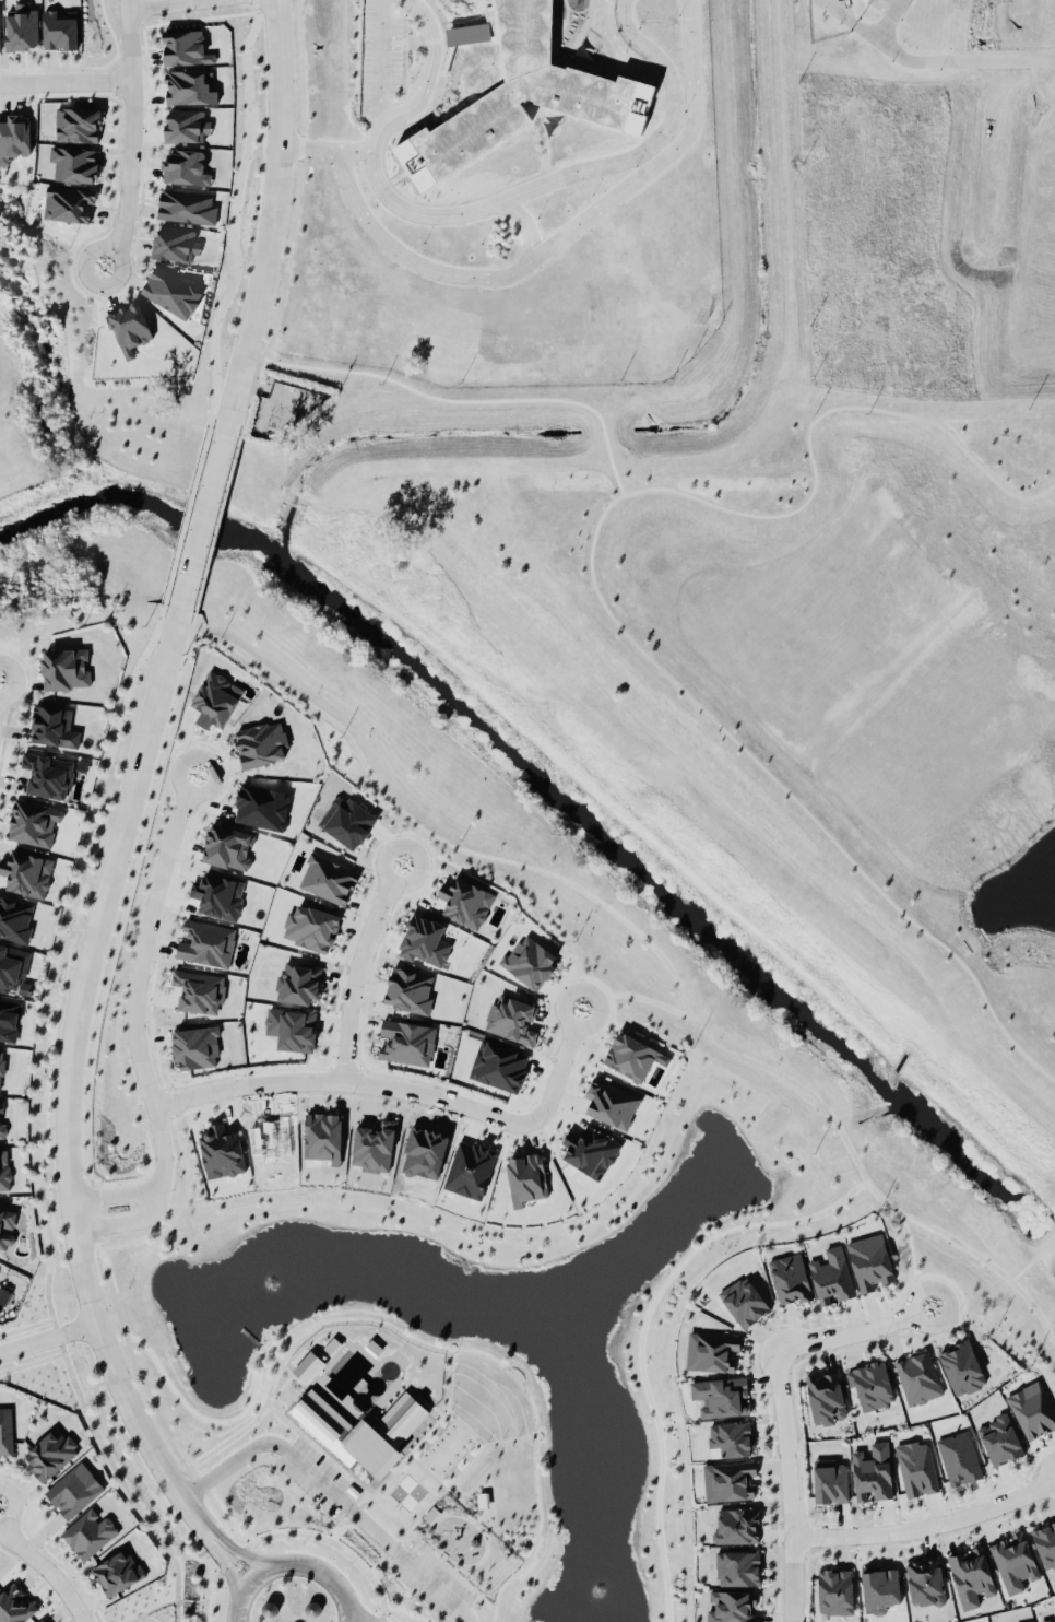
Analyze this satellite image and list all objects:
building: (868, 0)
road: (153, 3)
road: (252, 4)
building: (22, 26)
building: (59, 30)
building: (0, 42)
building: (185, 44)
road: (893, 52)
road: (1005, 56)
road: (381, 60)
road: (66, 79)
building: (188, 82)
building: (517, 89)
building: (183, 121)
building: (78, 124)
building: (12, 134)
road: (131, 138)
road: (355, 152)
building: (74, 163)
building: (185, 166)
road: (300, 178)
building: (69, 202)
road: (483, 204)
building: (187, 205)
road: (272, 216)
road: (233, 218)
road: (524, 225)
building: (173, 239)
road: (535, 257)
building: (168, 286)
building: (129, 328)
road: (254, 395)
road: (472, 403)
road: (183, 521)
road: (199, 522)
road: (213, 534)
road: (596, 597)
building: (64, 667)
building: (214, 696)
building: (54, 725)
building: (261, 743)
road: (173, 747)
building: (47, 773)
road: (179, 792)
river: (554, 797)
building: (346, 814)
building: (34, 821)
road: (410, 837)
building: (228, 847)
building: (26, 872)
road: (377, 873)
building: (328, 878)
building: (217, 894)
building: (465, 901)
building: (14, 918)
building: (309, 922)
building: (420, 935)
building: (205, 940)
road: (368, 943)
road: (108, 953)
road: (653, 956)
building: (526, 957)
road: (51, 961)
building: (13, 963)
road: (347, 977)
building: (298, 982)
building: (195, 987)
building: (407, 988)
road: (645, 1002)
building: (511, 1018)
building: (9, 1019)
road: (555, 1021)
building: (291, 1025)
road: (129, 1033)
building: (406, 1042)
building: (195, 1046)
building: (632, 1056)
building: (498, 1065)
building: (1, 1067)
road: (339, 1070)
road: (67, 1074)
road: (547, 1074)
road: (337, 1080)
road: (386, 1101)
road: (162, 1103)
building: (612, 1103)
building: (2, 1126)
road: (150, 1127)
building: (322, 1132)
building: (374, 1145)
building: (221, 1150)
building: (590, 1151)
building: (467, 1166)
building: (4, 1168)
building: (524, 1175)
road: (86, 1206)
road: (167, 1213)
building: (7, 1226)
road: (902, 1253)
building: (872, 1262)
building: (831, 1273)
building: (791, 1280)
road: (908, 1290)
building: (4, 1294)
building: (745, 1300)
road: (52, 1329)
road: (839, 1332)
road: (633, 1333)
road: (922, 1337)
road: (48, 1338)
park: (489, 1348)
road: (442, 1350)
building: (713, 1350)
road: (126, 1362)
building: (963, 1365)
building: (308, 1366)
road: (280, 1373)
building: (918, 1378)
road: (441, 1380)
building: (874, 1384)
building: (720, 1397)
building: (828, 1398)
building: (1033, 1409)
road: (218, 1419)
road: (278, 1421)
building: (5, 1430)
building: (999, 1438)
building: (344, 1439)
road: (502, 1439)
building: (731, 1441)
building: (51, 1451)
building: (957, 1457)
building: (915, 1469)
building: (874, 1473)
road: (1034, 1474)
road: (190, 1477)
road: (117, 1481)
building: (728, 1481)
road: (789, 1482)
building: (832, 1483)
building: (72, 1486)
road: (439, 1489)
road: (1030, 1489)
road: (334, 1490)
road: (14, 1506)
road: (218, 1520)
road: (470, 1521)
road: (479, 1525)
building: (737, 1527)
road: (909, 1527)
parking lot: (374, 1528)
building: (88, 1532)
road: (799, 1538)
road: (899, 1542)
road: (337, 1543)
building: (1044, 1545)
road: (234, 1547)
road: (218, 1556)
road: (233, 1556)
building: (1016, 1561)
building: (737, 1568)
road: (49, 1570)
road: (321, 1570)
building: (119, 1571)
building: (971, 1573)
road: (401, 1577)
building: (928, 1583)
road: (246, 1585)
building: (885, 1590)
building: (835, 1594)
road: (209, 1597)
road: (162, 1602)
building: (14, 1605)
building: (734, 1607)
road: (348, 1612)
road: (358, 1613)
road: (402, 1614)
road: (142, 1618)
road: (381, 1619)
building: (1047, 1619)
building: (42, 1620)
building: (1030, 1621)

